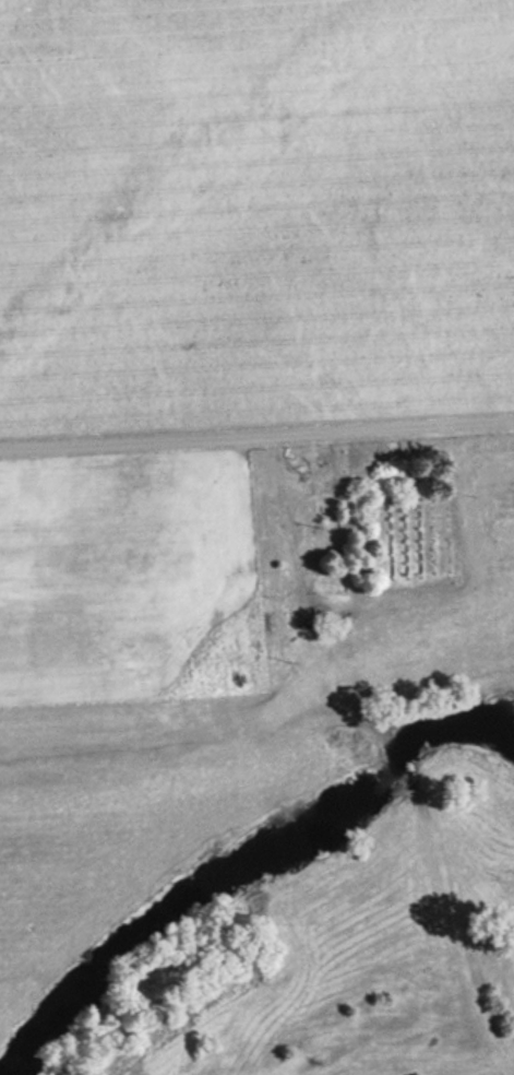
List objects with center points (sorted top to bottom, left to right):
river: (248, 861)

